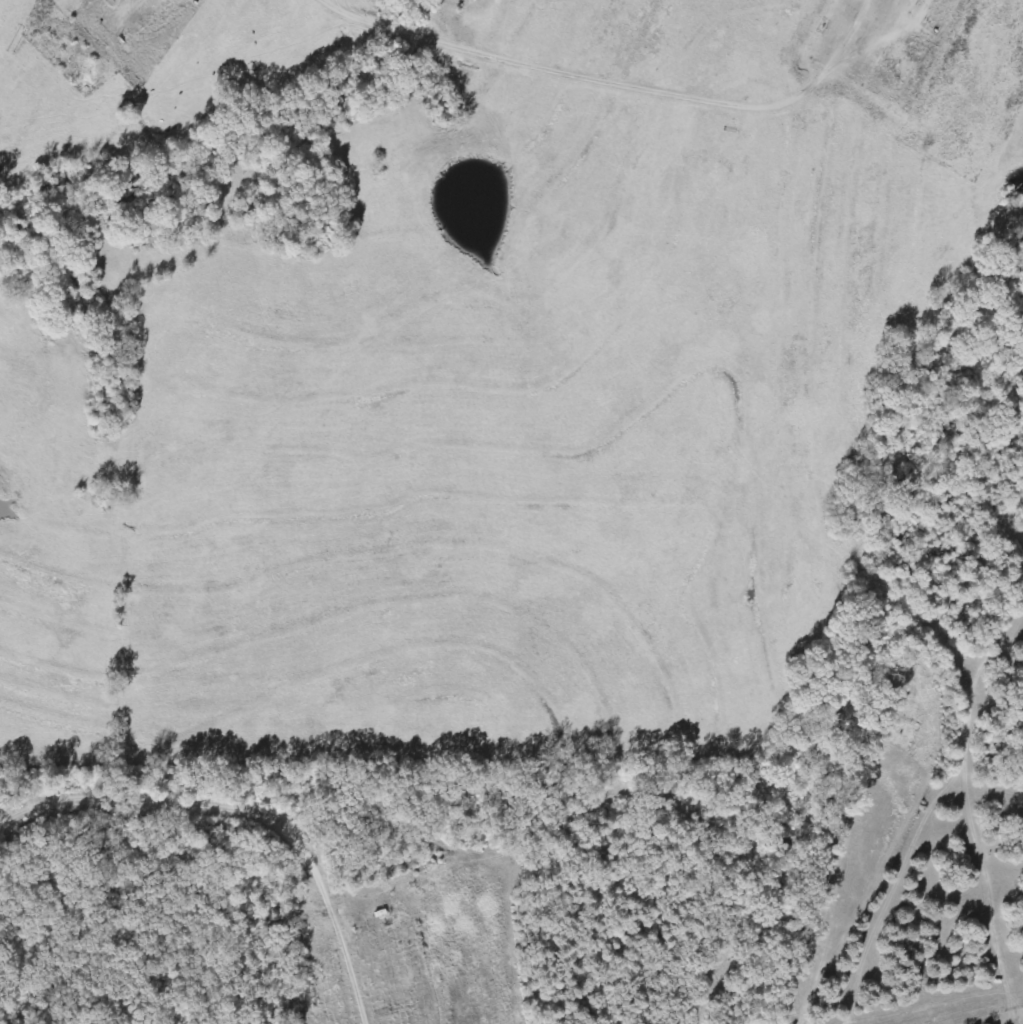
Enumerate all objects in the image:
power tower: (7, 52)
road: (247, 812)

